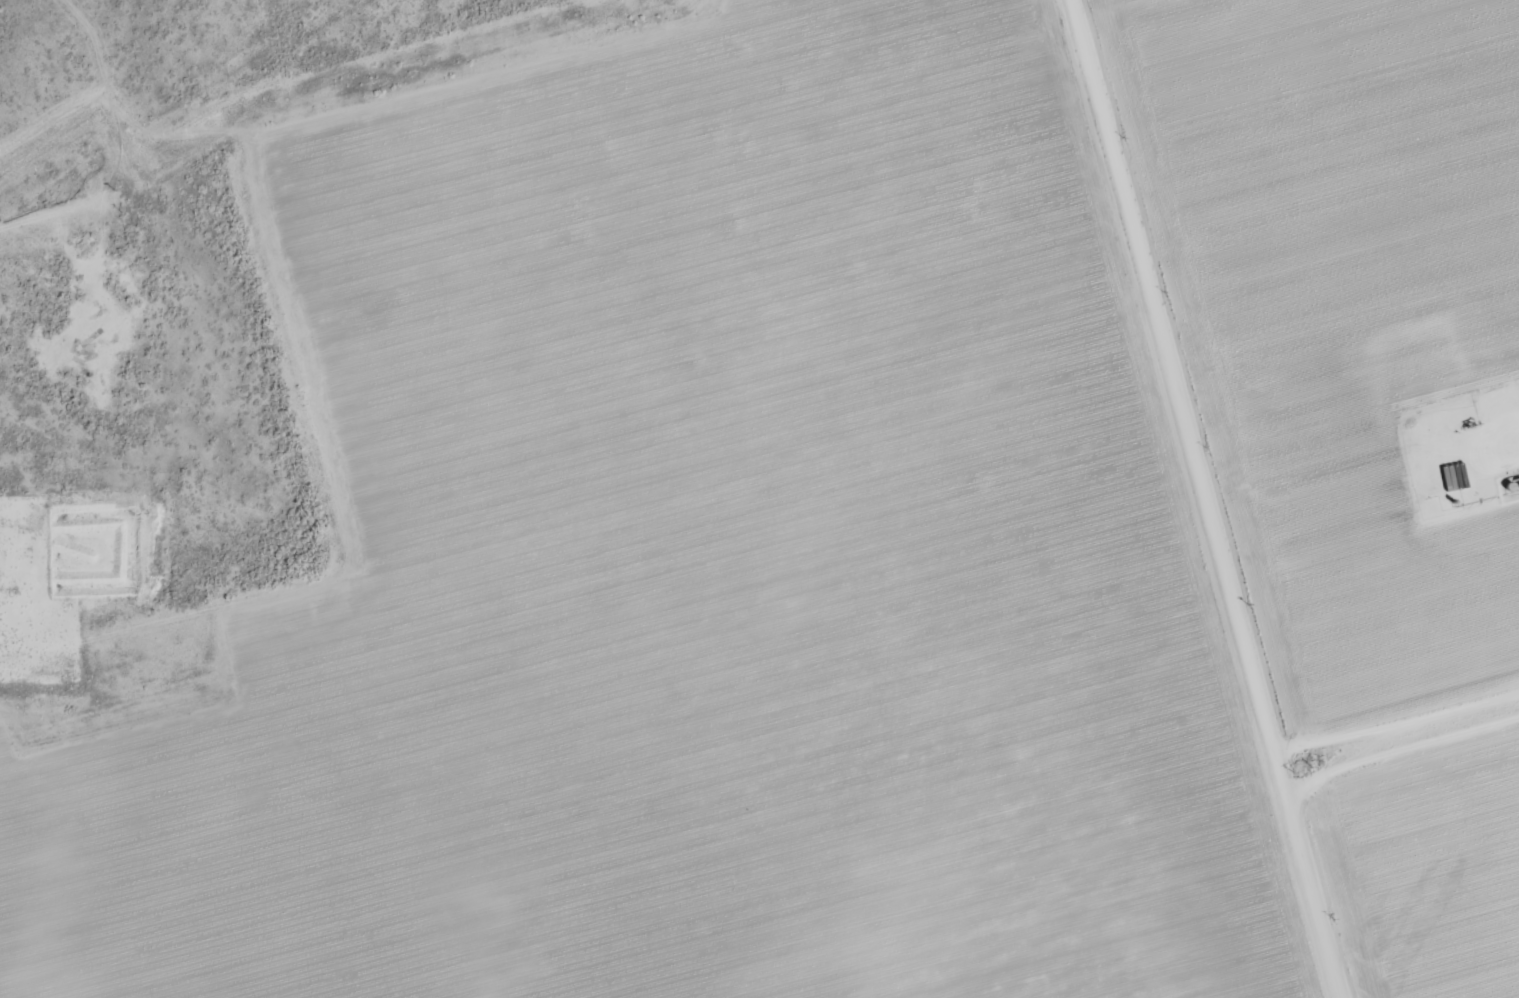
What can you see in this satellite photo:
road: (1193, 498)
road: (1396, 723)
road: (1397, 748)

